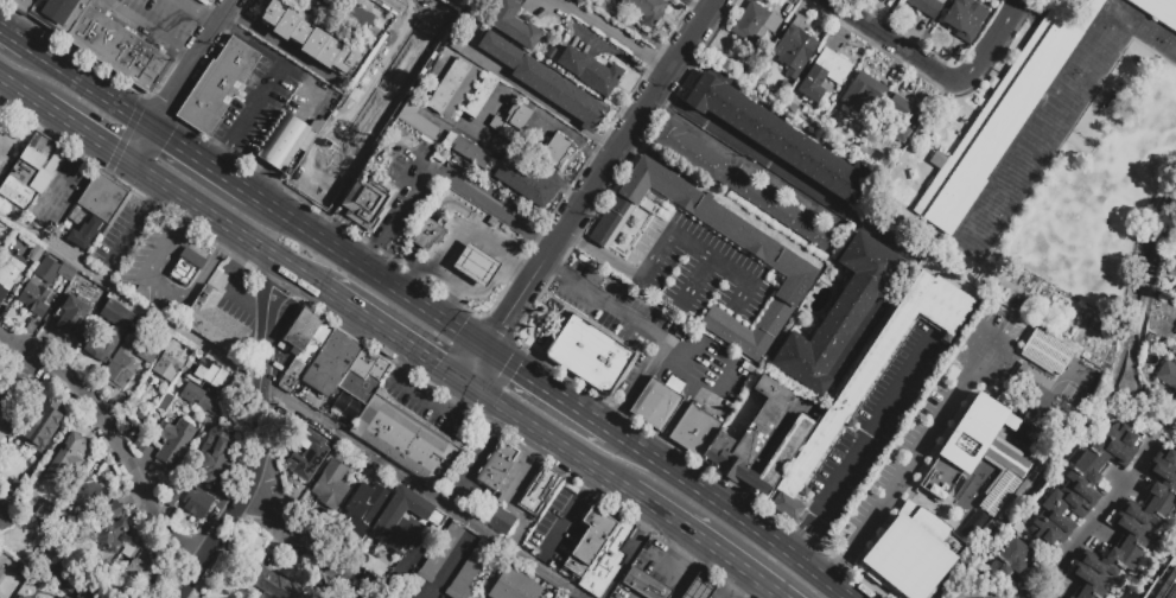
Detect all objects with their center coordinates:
building: (21, 4)
road: (693, 6)
building: (927, 6)
road: (205, 9)
building: (648, 11)
building: (1158, 11)
building: (58, 13)
building: (350, 15)
building: (965, 18)
parking lot: (154, 20)
building: (514, 24)
building: (755, 24)
road: (148, 30)
road: (612, 33)
road: (14, 38)
building: (310, 40)
road: (250, 42)
road: (890, 42)
building: (458, 45)
road: (991, 45)
building: (117, 49)
building: (794, 49)
road: (192, 64)
road: (401, 69)
building: (590, 71)
building: (824, 74)
building: (545, 83)
building: (217, 85)
road: (312, 85)
road: (18, 88)
road: (90, 88)
building: (451, 88)
building: (863, 93)
building: (479, 96)
traffic signals: (167, 102)
road: (254, 104)
road: (488, 112)
building: (1003, 115)
building: (902, 117)
building: (417, 120)
building: (511, 122)
road: (87, 131)
building: (933, 135)
building: (777, 136)
traffic signals: (167, 140)
road: (282, 142)
building: (285, 142)
road: (144, 146)
road: (390, 146)
road: (87, 147)
traffic signals: (114, 149)
building: (557, 151)
road: (217, 157)
road: (202, 163)
building: (322, 166)
building: (506, 171)
building: (25, 172)
road: (256, 178)
building: (738, 184)
road: (61, 186)
parking lot: (61, 191)
road: (586, 191)
park: (1102, 192)
road: (356, 193)
road: (157, 195)
building: (103, 198)
building: (368, 202)
road: (489, 205)
road: (186, 214)
road: (393, 216)
road: (458, 223)
road: (228, 225)
road: (335, 225)
road: (132, 231)
building: (85, 233)
parking lot: (121, 234)
building: (428, 234)
gas station: (465, 250)
road: (488, 250)
road: (161, 252)
road: (698, 252)
road: (600, 254)
road: (910, 255)
building: (783, 261)
building: (185, 265)
road: (209, 265)
building: (475, 267)
road: (476, 268)
building: (8, 273)
road: (368, 273)
road: (233, 279)
road: (697, 280)
building: (34, 288)
road: (165, 290)
road: (454, 300)
building: (839, 314)
building: (116, 316)
building: (72, 317)
building: (215, 324)
traffic signals: (501, 325)
road: (647, 330)
road: (390, 336)
building: (1175, 343)
road: (1003, 344)
building: (303, 345)
building: (102, 346)
building: (151, 346)
road: (266, 350)
building: (1047, 354)
building: (589, 356)
building: (170, 362)
building: (336, 362)
traffic signals: (436, 367)
road: (681, 368)
building: (119, 369)
building: (379, 369)
traffic signals: (515, 370)
building: (1167, 375)
building: (208, 376)
road: (687, 380)
building: (870, 380)
building: (358, 384)
road: (500, 384)
road: (720, 389)
road: (548, 390)
road: (422, 395)
building: (9, 400)
building: (199, 401)
building: (657, 402)
road: (293, 403)
traffic signals: (451, 406)
parking lot: (439, 414)
road: (672, 420)
building: (43, 424)
road: (875, 428)
road: (112, 435)
building: (402, 438)
road: (545, 438)
building: (987, 438)
building: (744, 439)
building: (323, 443)
building: (174, 444)
building: (215, 454)
road: (476, 458)
building: (69, 460)
building: (496, 464)
building: (304, 465)
parking lot: (469, 466)
road: (909, 466)
parking lot: (517, 478)
building: (330, 485)
building: (1081, 485)
road: (695, 488)
building: (536, 489)
building: (14, 491)
building: (997, 492)
road: (501, 495)
road: (736, 497)
building: (90, 498)
building: (173, 498)
building: (197, 502)
building: (363, 510)
road: (571, 513)
building: (40, 515)
building: (497, 519)
building: (4, 520)
road: (223, 521)
building: (401, 521)
road: (1086, 522)
building: (973, 526)
parking lot: (559, 527)
building: (112, 528)
building: (1130, 530)
road: (300, 536)
road: (807, 539)
building: (590, 541)
road: (705, 543)
building: (131, 547)
building: (911, 552)
building: (440, 553)
road: (633, 554)
building: (606, 559)
building: (1011, 560)
building: (140, 568)
road: (657, 568)
road: (840, 570)
road: (813, 571)
building: (468, 572)
building: (1, 573)
building: (75, 578)
building: (1162, 581)
road: (686, 583)
building: (646, 584)
building: (278, 585)
building: (513, 586)
road: (711, 586)
road: (740, 586)
building: (700, 587)
gas station: (700, 587)
road: (700, 590)
road: (691, 592)
building: (1049, 592)
building: (1126, 592)
building: (20, 597)
building: (68, 597)
building: (1070, 597)

